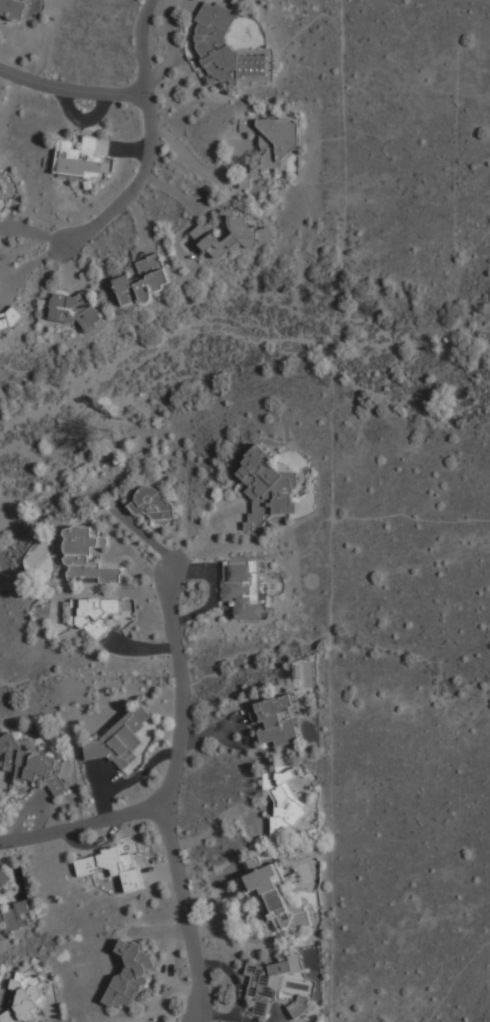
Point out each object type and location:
building: (14, 8)
building: (225, 47)
road: (71, 91)
road: (154, 142)
building: (271, 144)
building: (84, 156)
building: (1, 185)
building: (232, 236)
building: (143, 281)
building: (73, 308)
building: (10, 318)
building: (266, 487)
building: (150, 503)
building: (88, 556)
building: (244, 587)
building: (95, 614)
building: (274, 720)
building: (122, 737)
building: (33, 763)
road: (175, 800)
building: (282, 800)
road: (218, 819)
road: (90, 833)
building: (113, 866)
building: (4, 876)
building: (269, 897)
building: (15, 916)
building: (129, 976)
building: (266, 983)
building: (25, 996)
building: (299, 1006)

